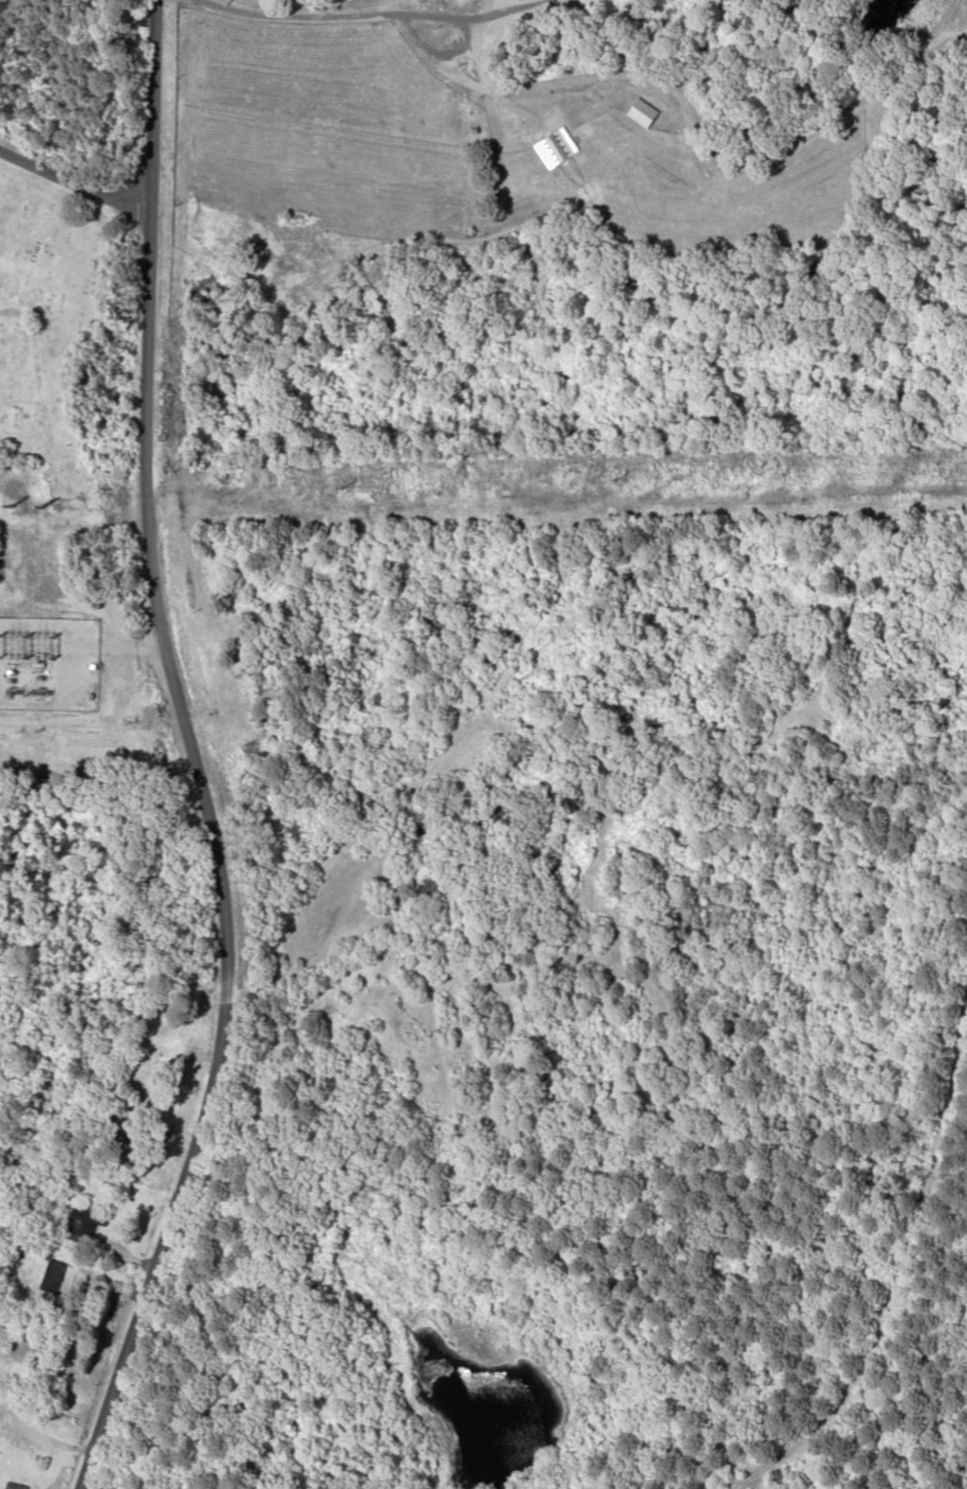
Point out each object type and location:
road: (73, 171)
park: (59, 328)
power substation: (49, 662)
road: (191, 755)
building: (426, 823)
building: (301, 836)
building: (432, 886)
building: (86, 1224)
building: (53, 1276)
road: (46, 1442)
building: (16, 1486)

